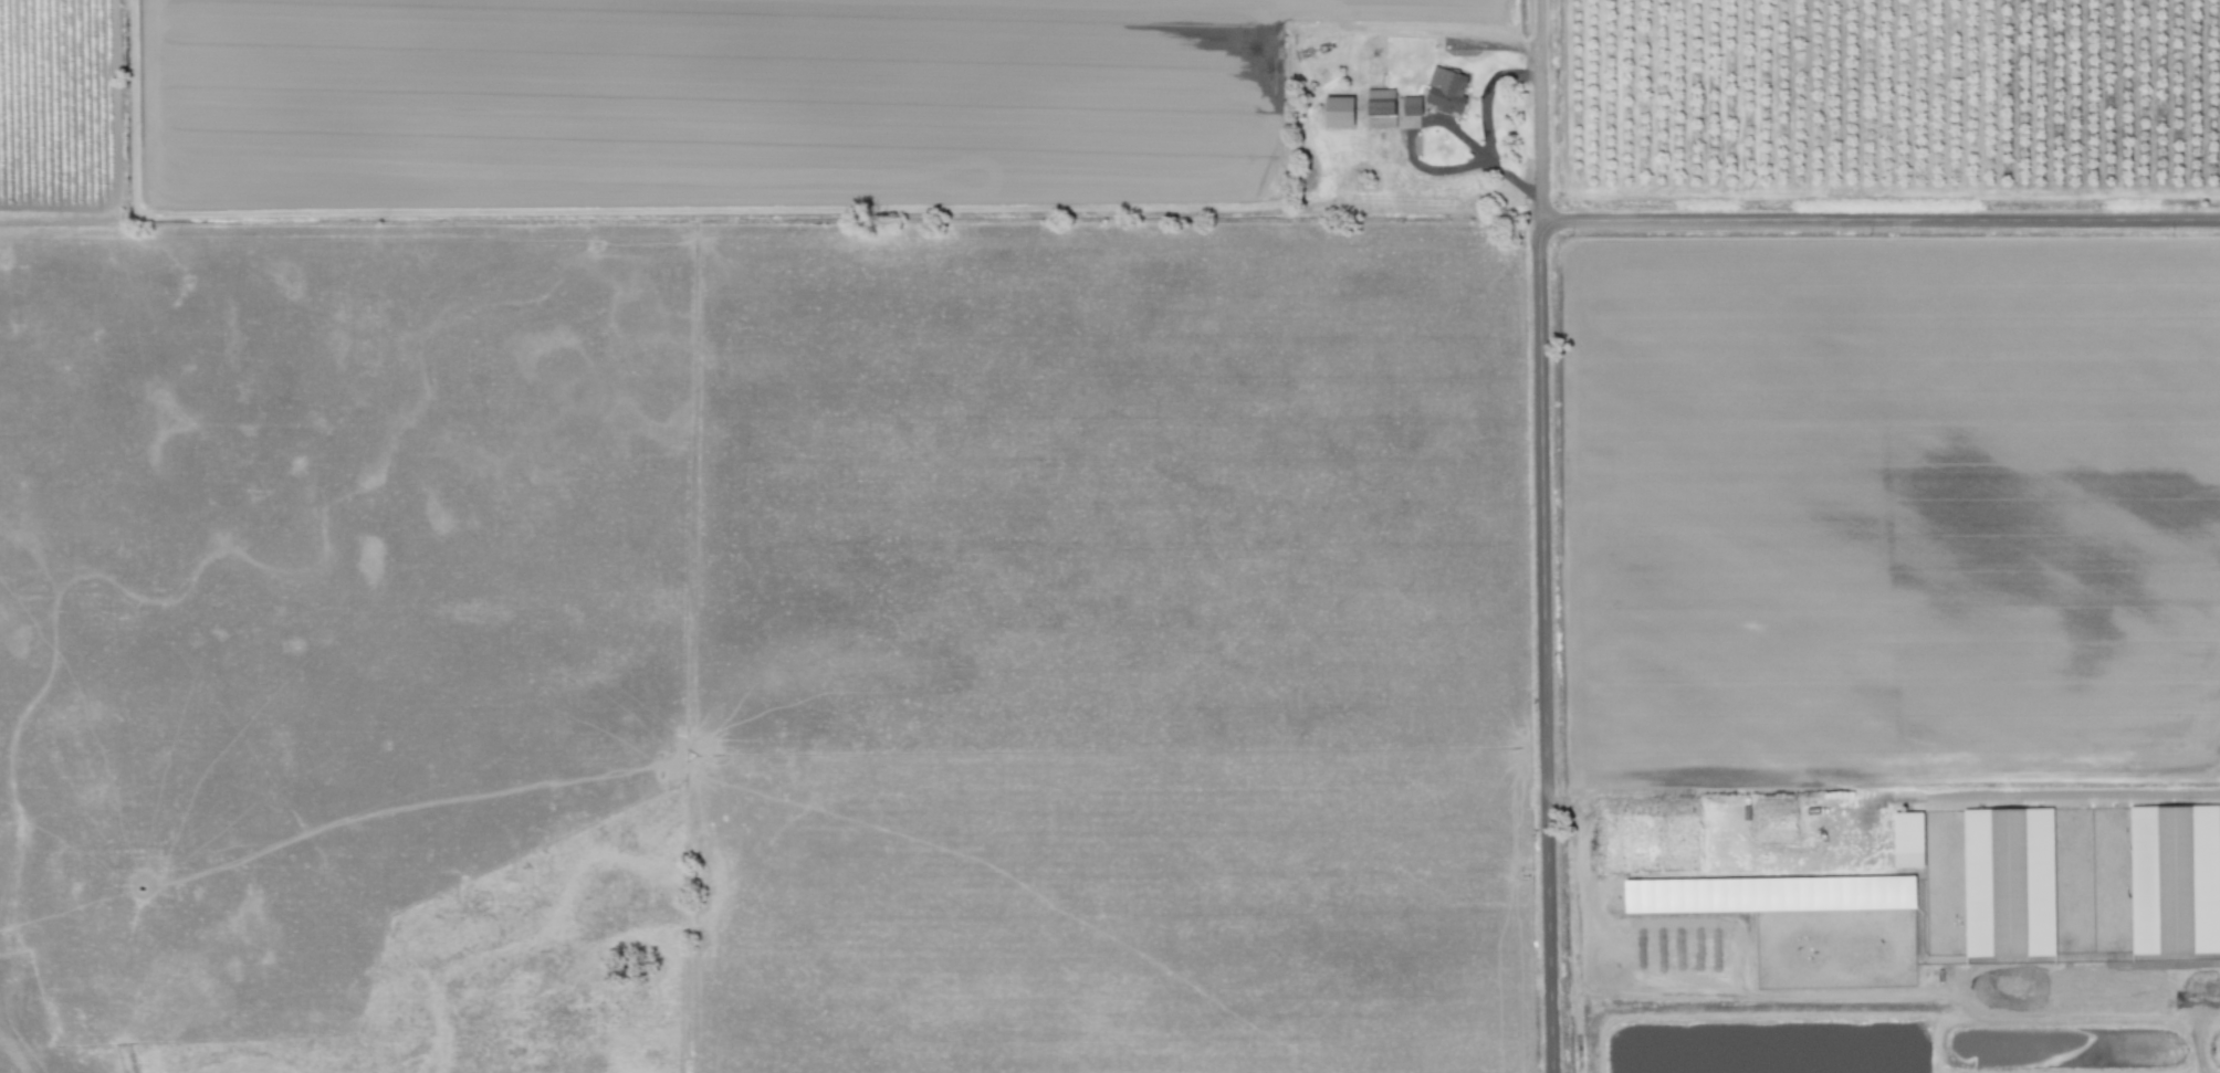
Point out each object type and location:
building: (1446, 88)
building: (1412, 104)
road: (1540, 107)
building: (1339, 111)
road: (1881, 217)
crop: (1110, 536)
road: (1547, 644)
road: (2057, 793)
building: (1908, 838)
building: (2175, 877)

